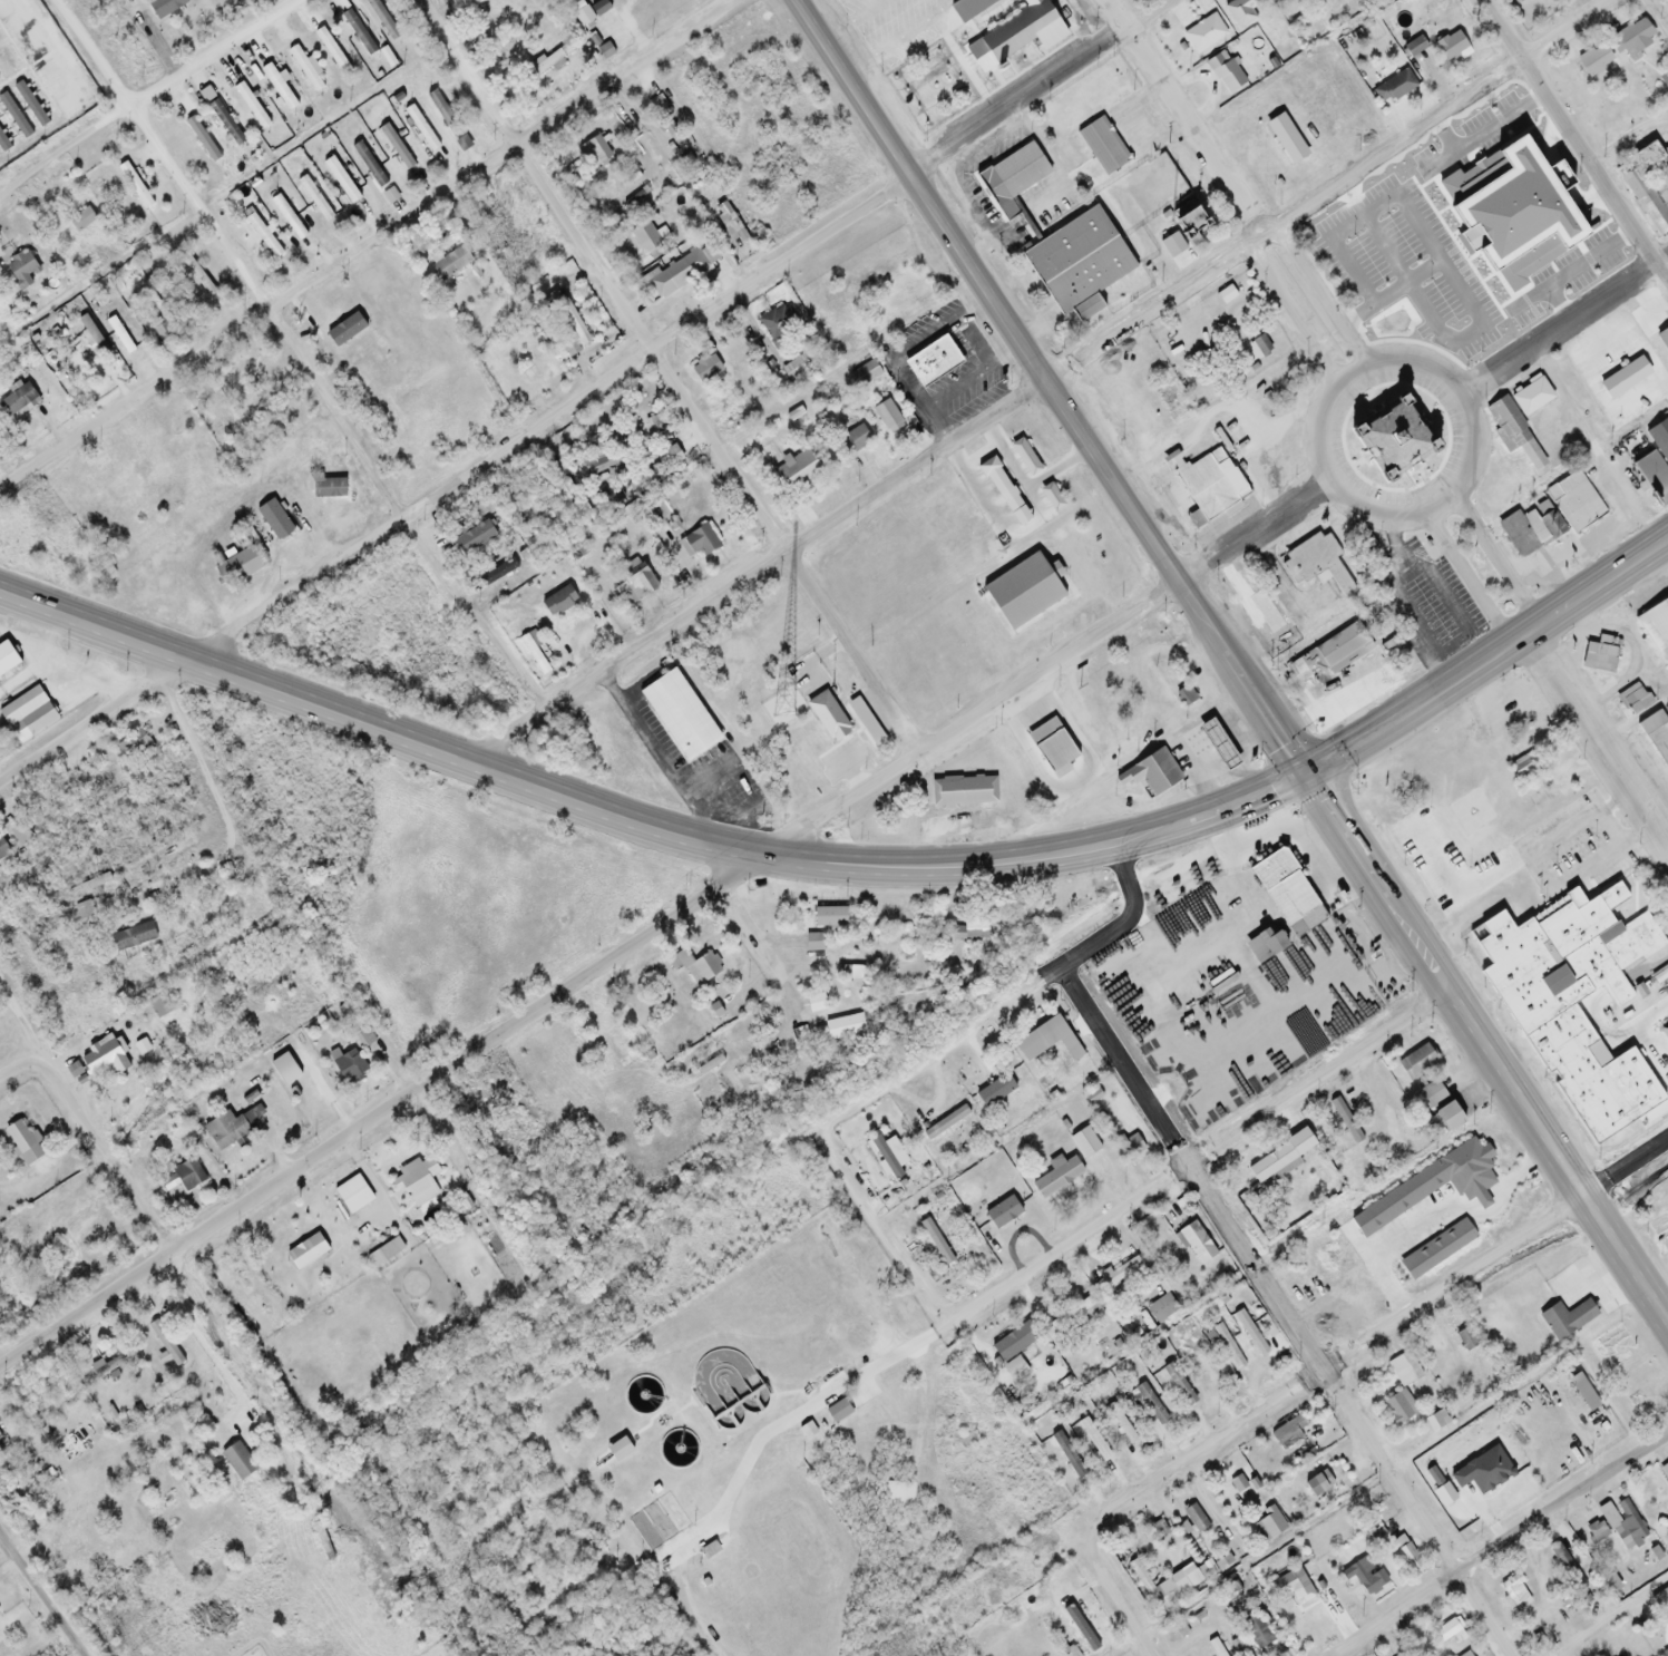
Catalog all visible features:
building: (1514, 1)
building: (1239, 12)
building: (581, 17)
building: (1004, 28)
building: (1203, 32)
building: (1630, 39)
building: (1448, 46)
road: (42, 47)
building: (330, 50)
building: (1593, 59)
building: (1223, 72)
building: (275, 88)
road: (148, 101)
building: (248, 106)
building: (198, 137)
building: (1286, 143)
building: (1103, 144)
road: (1569, 148)
building: (593, 152)
building: (1538, 152)
building: (1552, 168)
building: (1021, 169)
building: (1469, 177)
building: (339, 181)
building: (1532, 182)
road: (1230, 187)
building: (1647, 187)
building: (313, 198)
building: (79, 220)
building: (1186, 222)
building: (261, 236)
building: (644, 237)
road: (361, 241)
building: (1559, 246)
building: (1077, 259)
building: (448, 262)
building: (1516, 269)
building: (1461, 270)
building: (676, 274)
building: (1474, 311)
building: (780, 329)
road: (1564, 332)
building: (1662, 340)
road: (295, 358)
building: (927, 359)
building: (704, 368)
building: (793, 369)
building: (862, 374)
road: (667, 377)
road: (1047, 388)
road: (583, 389)
building: (1123, 390)
road: (1462, 402)
building: (886, 417)
building: (1513, 435)
building: (1394, 437)
building: (853, 440)
building: (1024, 458)
building: (796, 470)
building: (1209, 488)
building: (1002, 493)
building: (1051, 498)
building: (1573, 503)
building: (528, 510)
building: (474, 538)
road: (1667, 539)
building: (1317, 564)
building: (234, 568)
building: (634, 583)
building: (1021, 594)
building: (1656, 630)
building: (1333, 653)
building: (1598, 657)
road: (1233, 659)
road: (1554, 679)
building: (1633, 700)
road: (1405, 712)
building: (675, 713)
building: (36, 720)
building: (1656, 738)
building: (1212, 743)
building: (1154, 772)
traffic signals: (1309, 776)
building: (962, 792)
road: (550, 795)
road: (1612, 827)
road: (1665, 839)
building: (1286, 893)
building: (82, 912)
building: (828, 917)
road: (664, 919)
building: (811, 944)
road: (764, 948)
building: (681, 957)
building: (1560, 961)
building: (1294, 964)
building: (702, 970)
building: (1658, 971)
road: (1015, 1002)
building: (813, 1004)
building: (1318, 1010)
building: (842, 1027)
road: (1553, 1034)
building: (1045, 1041)
building: (100, 1059)
building: (1416, 1063)
road: (21, 1070)
building: (282, 1070)
building: (628, 1072)
building: (1664, 1080)
building: (1431, 1095)
building: (274, 1117)
road: (86, 1120)
building: (1345, 1121)
building: (1441, 1122)
building: (223, 1130)
building: (20, 1142)
building: (1083, 1143)
building: (1129, 1146)
building: (1266, 1163)
building: (1055, 1178)
building: (417, 1181)
building: (351, 1196)
building: (1002, 1214)
road: (881, 1227)
building: (935, 1241)
building: (1194, 1244)
building: (1103, 1287)
road: (1001, 1290)
building: (1161, 1309)
building: (1076, 1313)
road: (1285, 1315)
building: (1565, 1319)
road: (1384, 1324)
building: (1248, 1334)
road: (197, 1340)
building: (1403, 1370)
building: (1203, 1372)
building: (1177, 1386)
building: (1398, 1407)
building: (1289, 1434)
building: (236, 1462)
building: (1664, 1471)
building: (1316, 1483)
building: (898, 1496)
building: (1621, 1522)
building: (1268, 1525)
building: (1594, 1533)
road: (1503, 1546)
building: (1395, 1548)
building: (1373, 1581)
road: (1118, 1587)
building: (1163, 1587)
building: (1290, 1588)
road: (46, 1590)
road: (1616, 1617)
building: (1082, 1629)
building: (1445, 1630)
building: (1256, 1631)
building: (1667, 1655)

